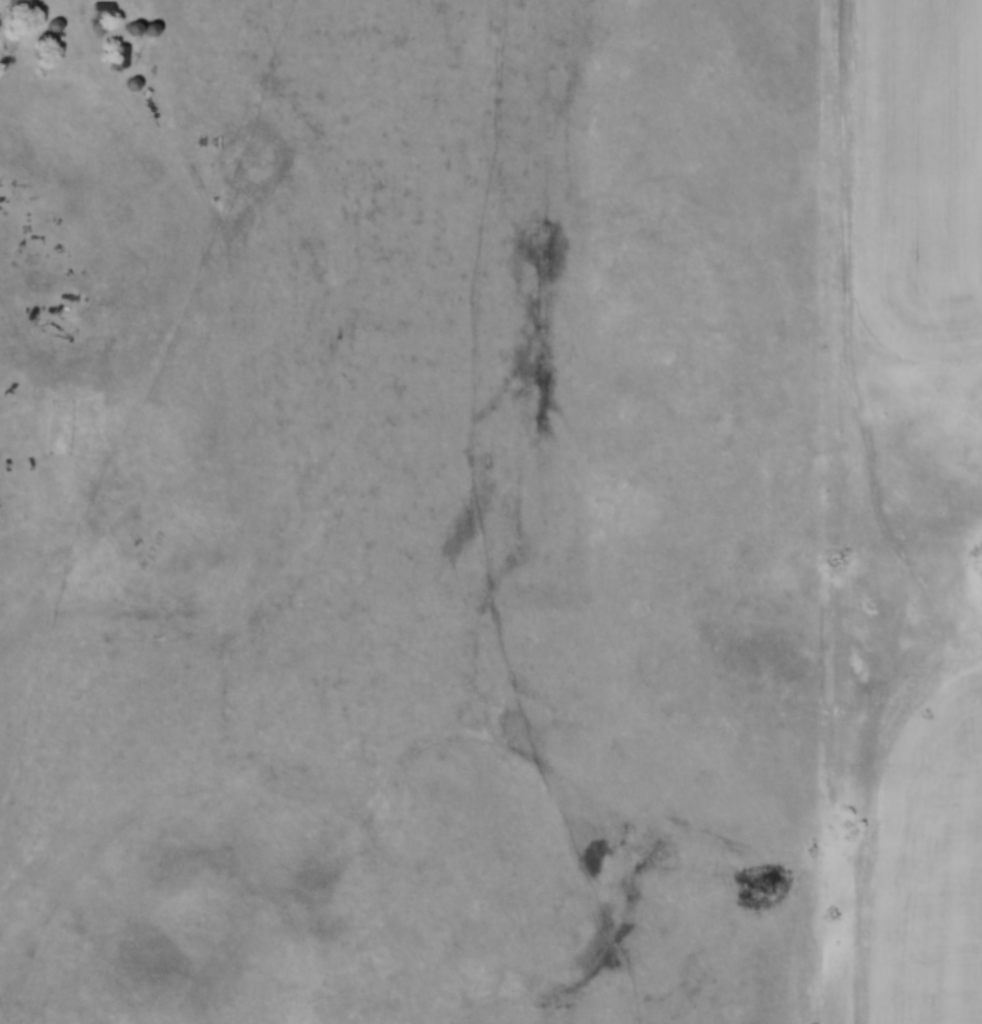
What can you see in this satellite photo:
building: (19, 8)
building: (100, 11)
building: (49, 44)
building: (118, 57)
road: (179, 314)

